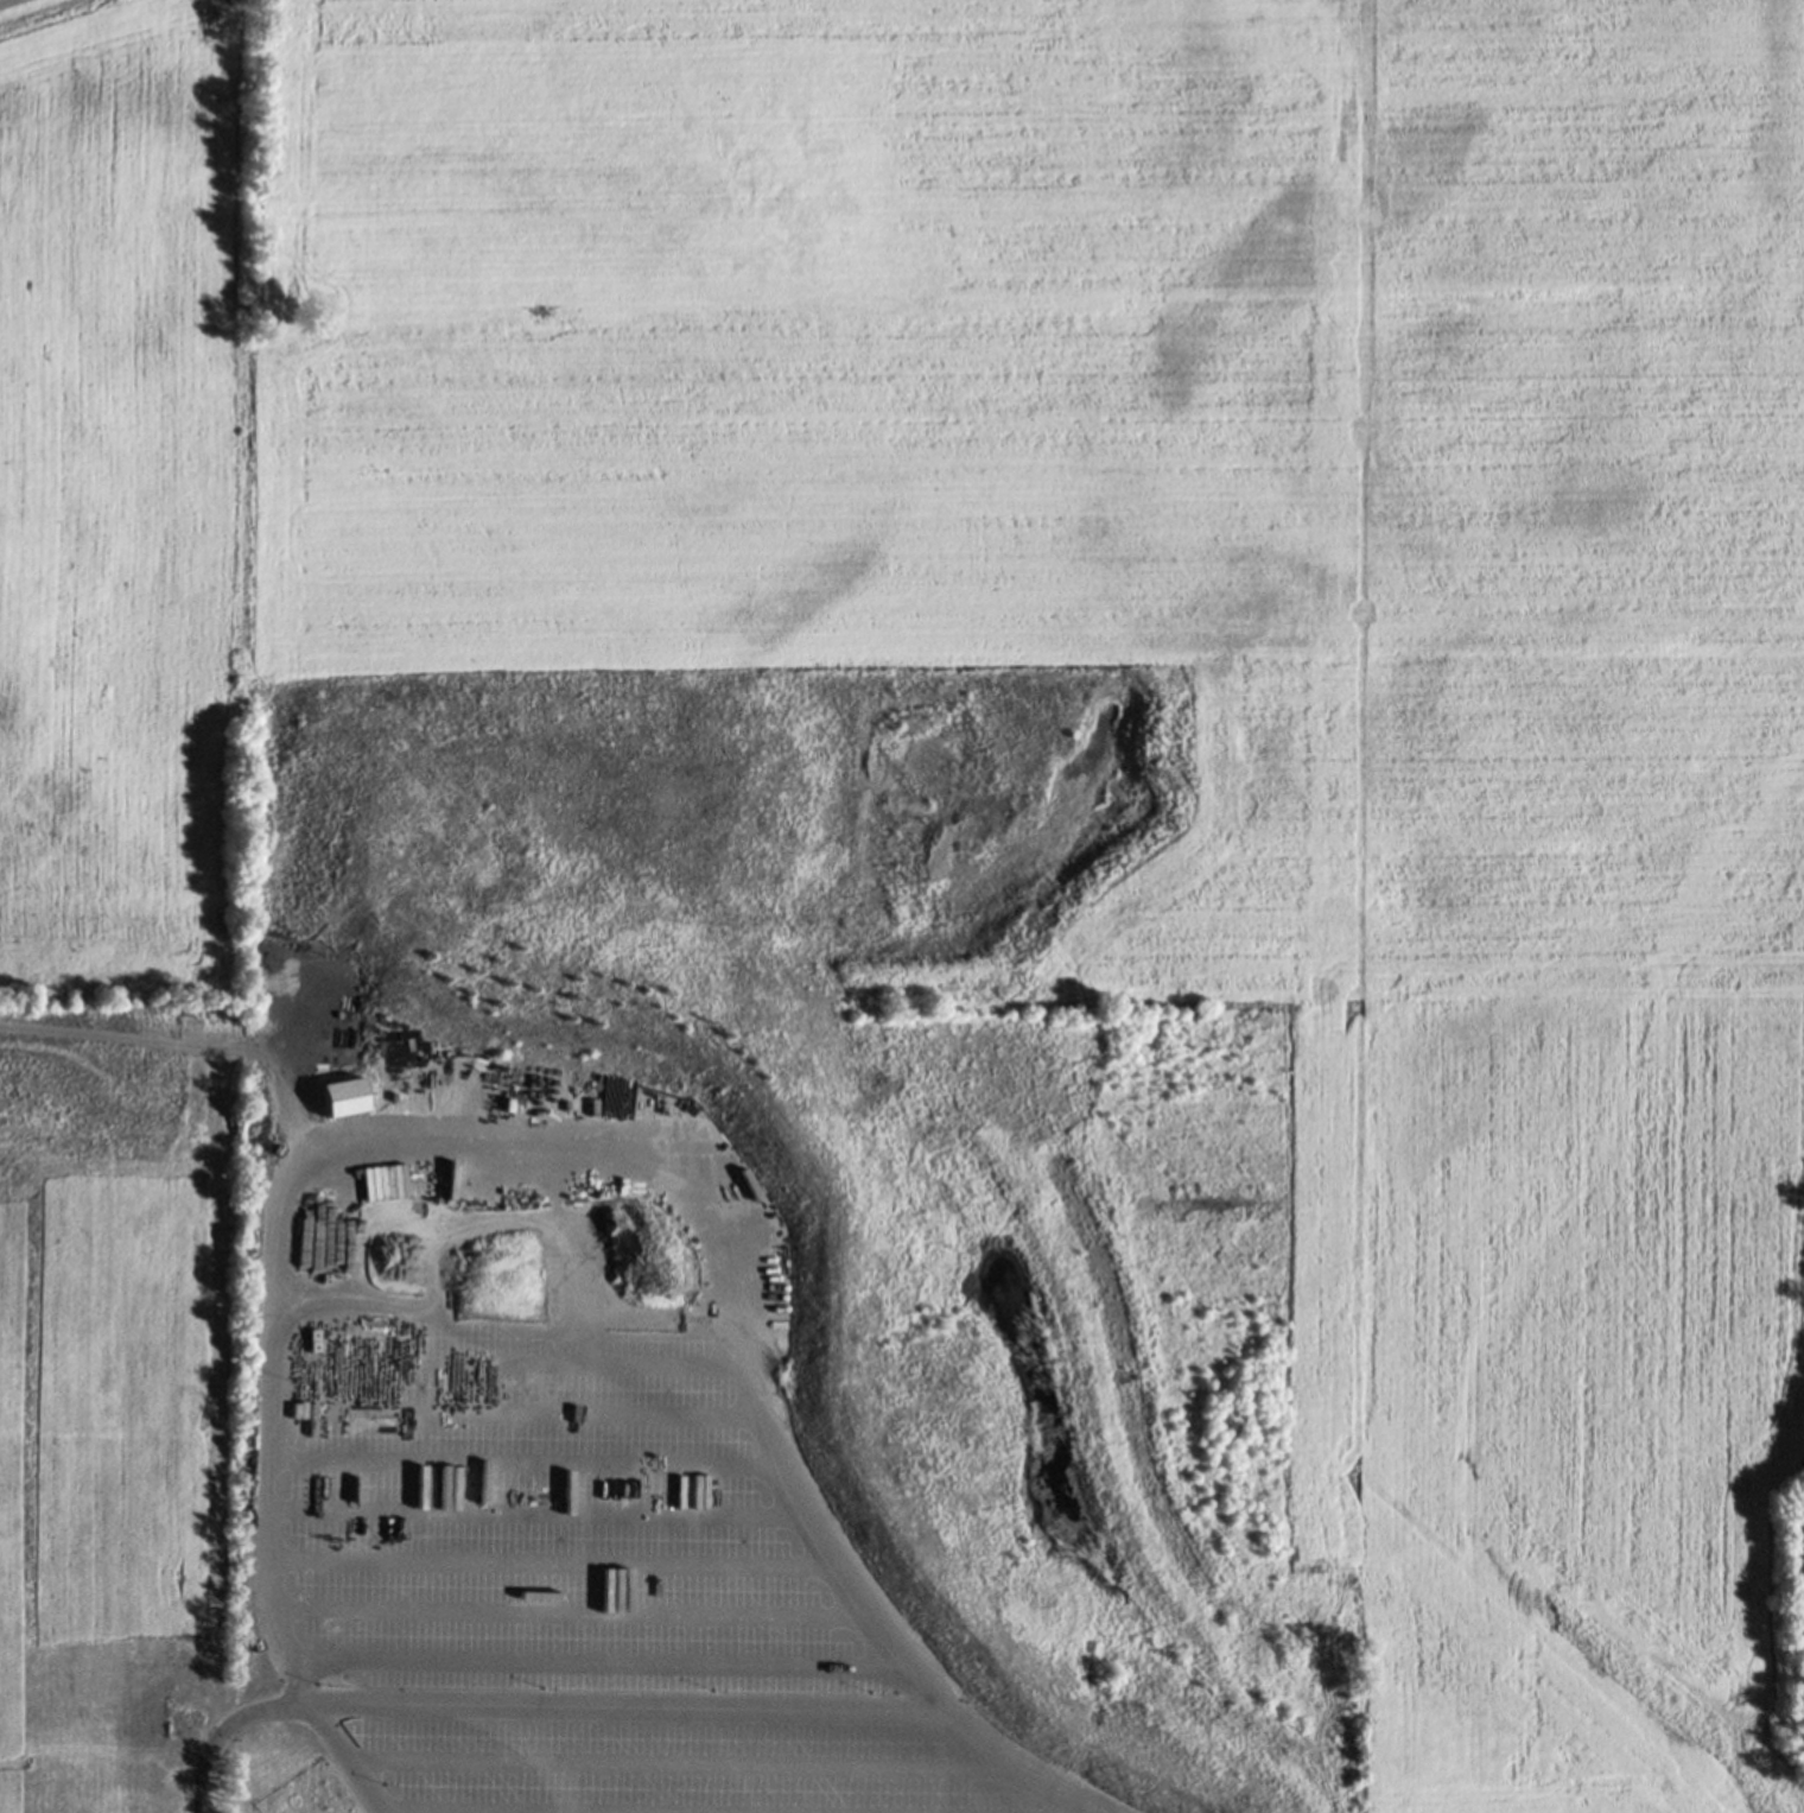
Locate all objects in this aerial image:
crop: (125, 496)
road: (546, 1153)
road: (629, 1332)
quarry: (1584, 1405)
road: (553, 1561)
road: (624, 1707)
road: (230, 1730)
road: (678, 1763)

